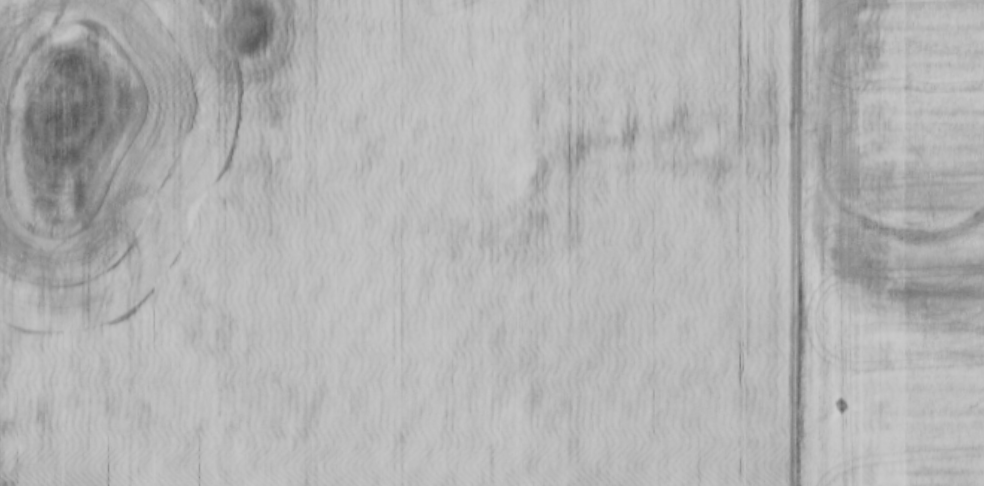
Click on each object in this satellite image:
road: (797, 242)

